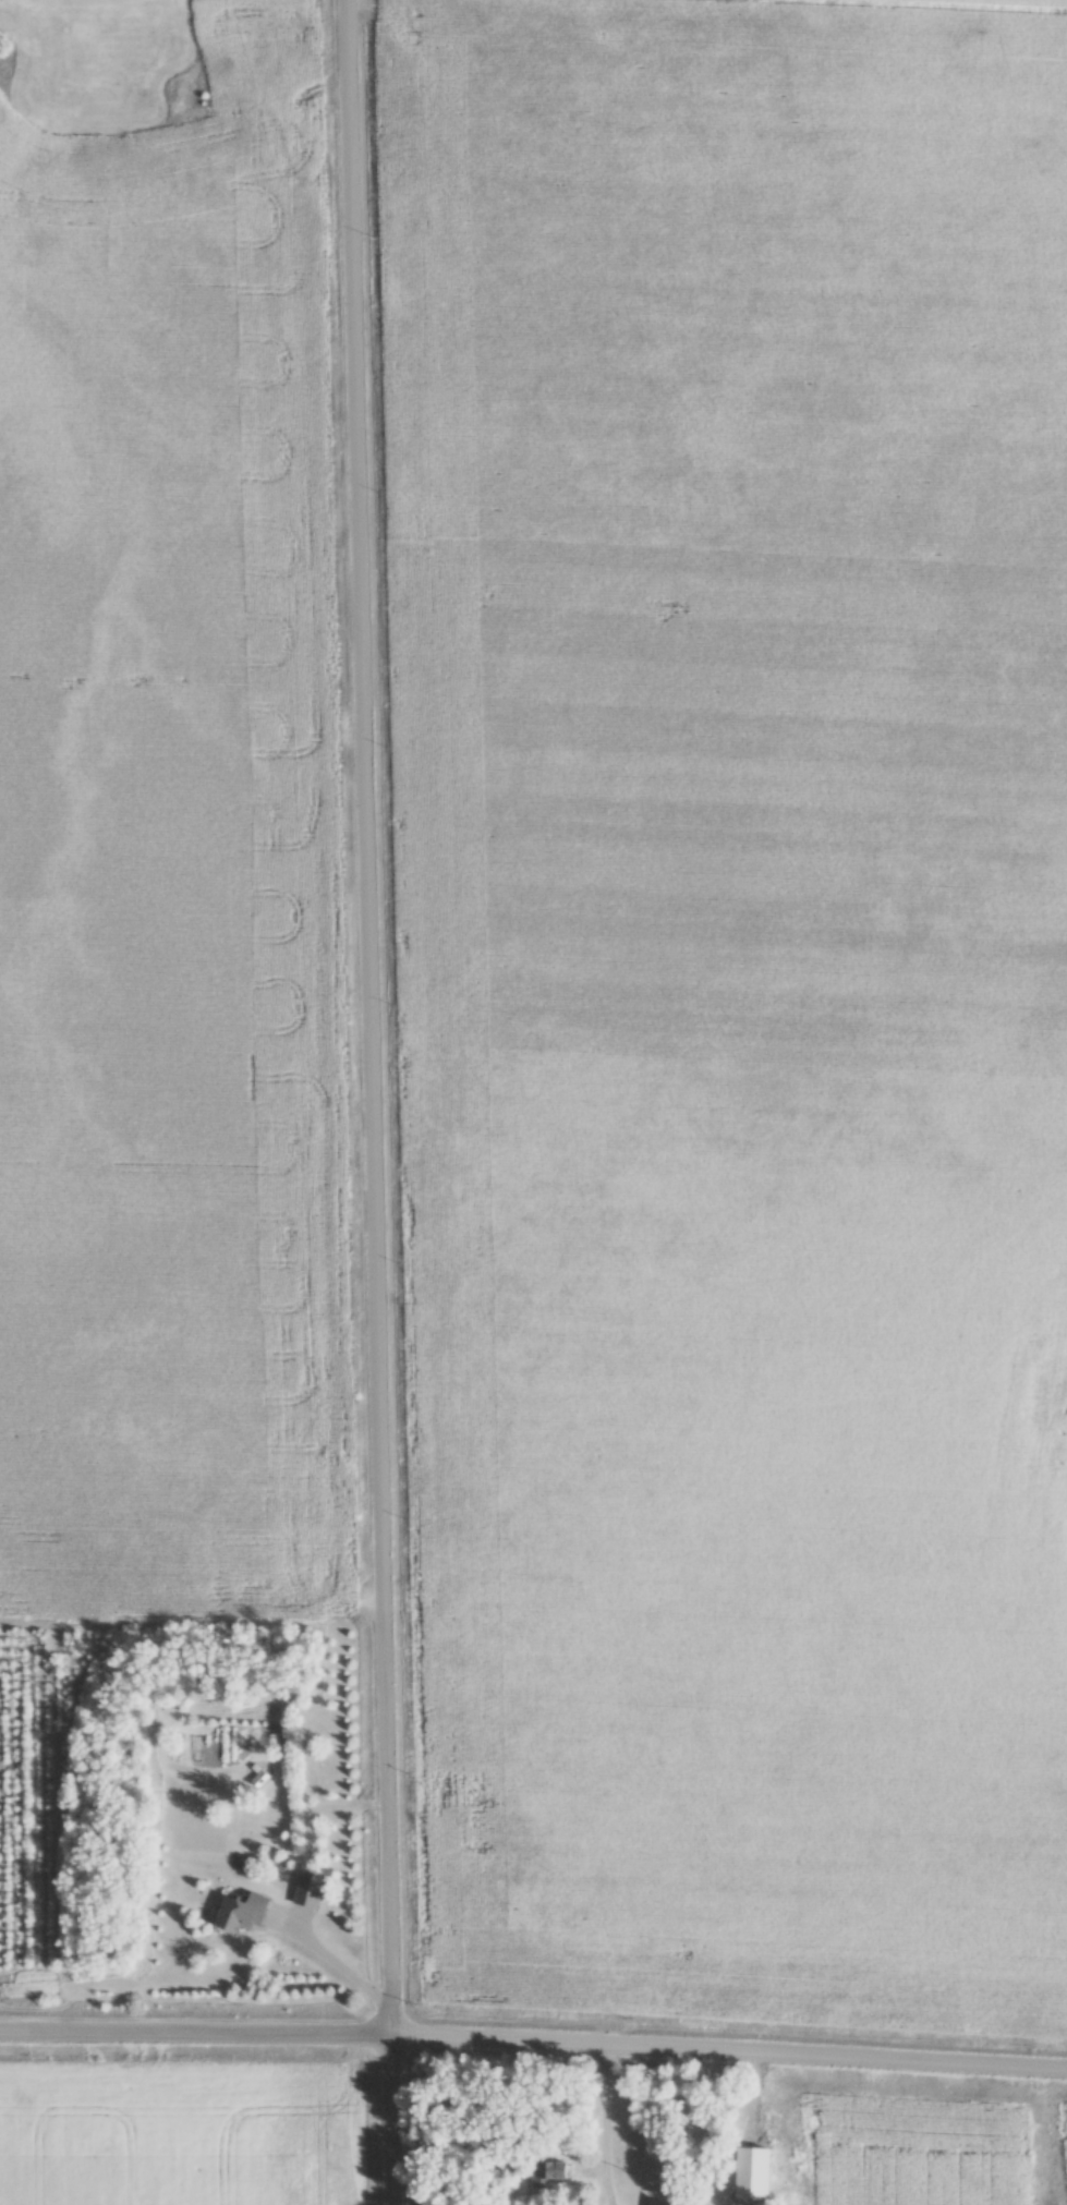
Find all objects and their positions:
crop: (1052, 0)
road: (372, 1102)
building: (312, 1890)
building: (247, 1913)
road: (533, 2040)
road: (605, 2121)
building: (547, 2173)
road: (606, 2201)
road: (610, 2201)

